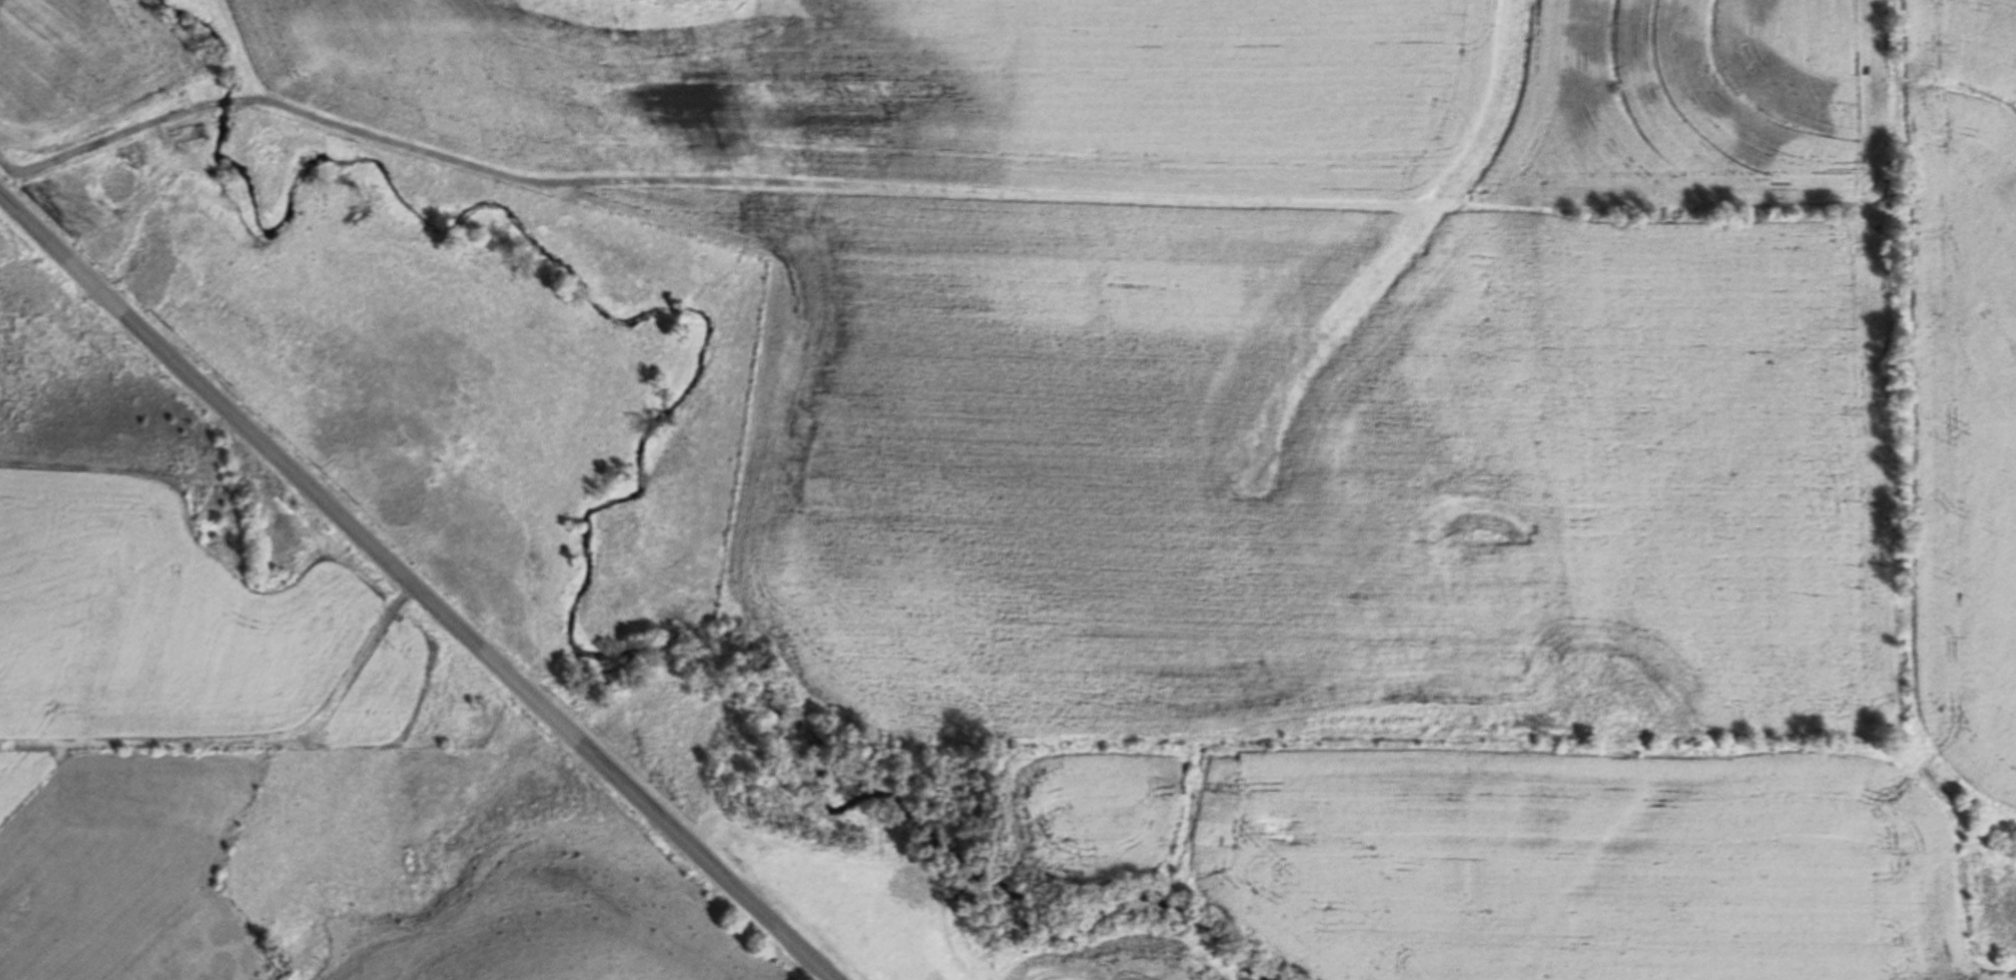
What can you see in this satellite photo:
road: (758, 184)
road: (419, 589)
road: (325, 702)

